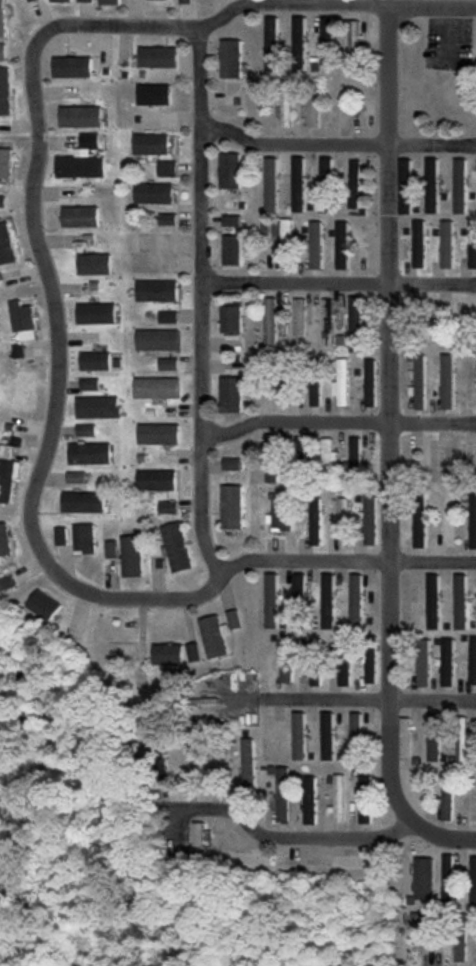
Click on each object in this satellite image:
building: (32, 0)
building: (61, 0)
building: (185, 1)
building: (109, 2)
road: (256, 4)
building: (3, 18)
building: (298, 35)
building: (327, 41)
building: (354, 43)
building: (271, 44)
building: (3, 52)
building: (157, 57)
building: (230, 58)
building: (71, 67)
building: (6, 91)
building: (153, 94)
building: (286, 103)
building: (313, 113)
building: (79, 117)
building: (88, 140)
building: (150, 144)
road: (334, 146)
building: (6, 163)
building: (79, 165)
building: (166, 168)
building: (229, 170)
building: (271, 184)
building: (298, 184)
building: (354, 184)
building: (325, 185)
building: (432, 185)
building: (406, 186)
building: (460, 186)
building: (152, 193)
building: (3, 201)
building: (78, 216)
building: (166, 219)
building: (230, 220)
building: (283, 241)
building: (419, 244)
building: (447, 244)
building: (7, 245)
building: (316, 245)
building: (342, 245)
building: (472, 246)
building: (230, 250)
building: (92, 264)
road: (196, 281)
road: (336, 285)
building: (155, 291)
building: (93, 313)
building: (23, 316)
building: (166, 317)
building: (299, 317)
building: (230, 319)
building: (270, 321)
building: (327, 322)
building: (356, 323)
building: (156, 339)
building: (93, 361)
building: (166, 364)
building: (369, 382)
building: (447, 382)
building: (341, 383)
building: (418, 383)
building: (87, 384)
building: (155, 388)
building: (25, 390)
building: (315, 390)
road: (53, 393)
building: (229, 394)
building: (96, 407)
road: (385, 419)
road: (334, 423)
building: (84, 430)
building: (157, 434)
building: (271, 444)
building: (328, 452)
building: (88, 453)
building: (356, 456)
building: (230, 464)
building: (272, 470)
building: (8, 479)
building: (154, 480)
building: (82, 502)
building: (230, 506)
building: (166, 507)
building: (280, 516)
building: (471, 516)
building: (369, 520)
building: (315, 521)
building: (343, 521)
building: (419, 529)
building: (60, 536)
building: (83, 539)
building: (6, 540)
building: (110, 549)
building: (158, 556)
road: (206, 556)
road: (342, 562)
building: (8, 583)
building: (355, 599)
building: (271, 600)
building: (327, 601)
building: (432, 602)
building: (460, 602)
building: (44, 604)
building: (233, 619)
building: (212, 636)
building: (191, 652)
building: (166, 654)
building: (287, 658)
building: (473, 660)
building: (344, 662)
building: (447, 662)
building: (423, 663)
building: (370, 666)
building: (315, 674)
road: (367, 701)
building: (357, 734)
building: (299, 736)
building: (327, 736)
building: (433, 736)
building: (405, 737)
building: (200, 755)
building: (248, 763)
building: (283, 794)
building: (447, 796)
building: (339, 798)
building: (310, 800)
road: (285, 836)
road: (440, 839)
building: (200, 841)
building: (424, 878)
building: (449, 879)
building: (473, 881)
building: (426, 933)
building: (460, 950)

